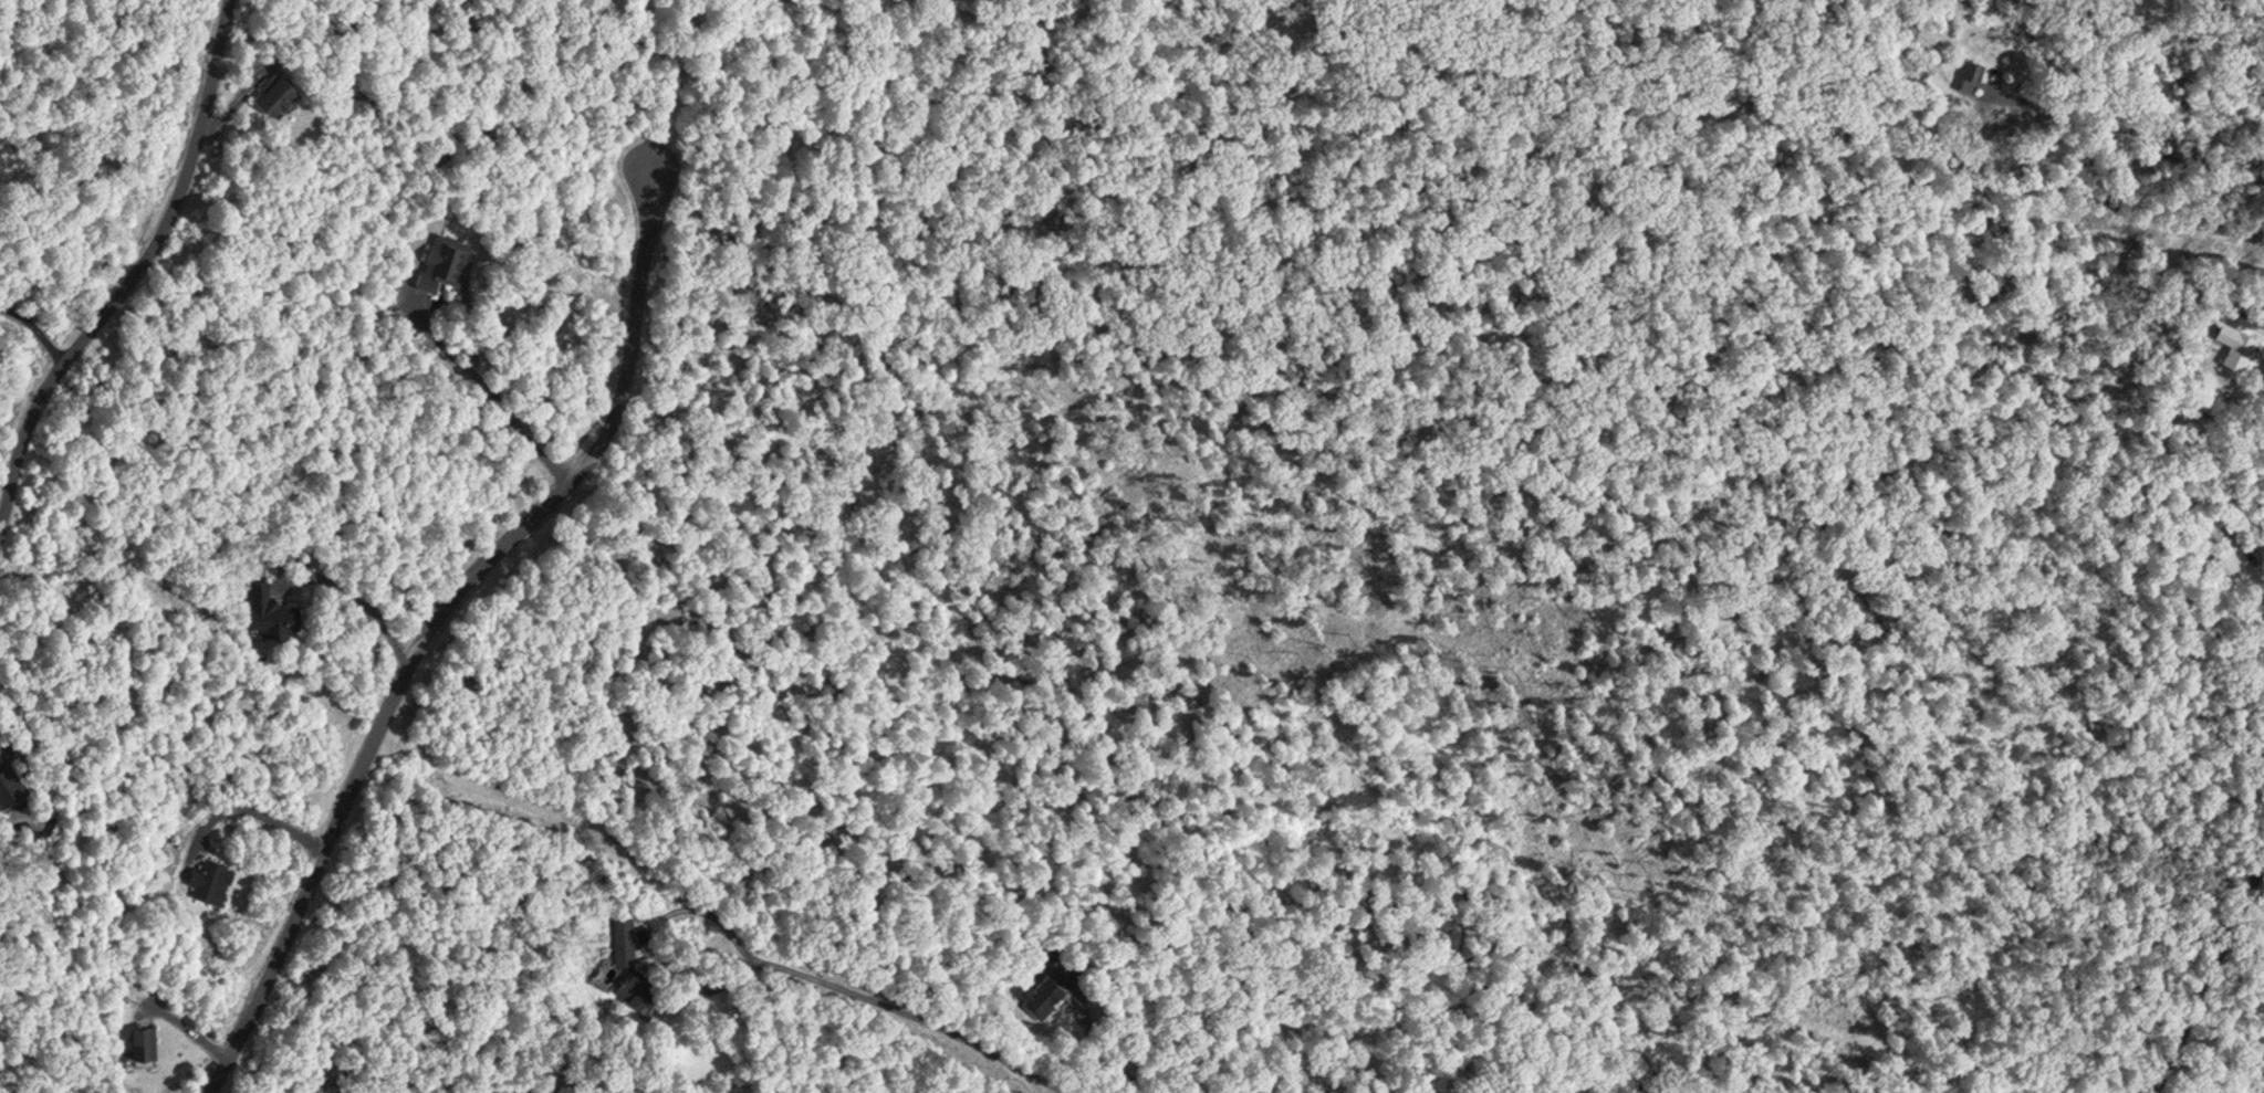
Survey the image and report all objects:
building: (1971, 72)
building: (271, 91)
road: (229, 97)
building: (444, 256)
road: (124, 263)
road: (2249, 316)
road: (33, 326)
building: (2237, 341)
building: (269, 606)
road: (430, 619)
building: (4, 742)
building: (9, 780)
road: (540, 806)
road: (258, 816)
building: (208, 875)
building: (628, 958)
road: (2206, 977)
building: (1040, 991)
road: (868, 1000)
building: (140, 1037)
road: (1120, 1071)

